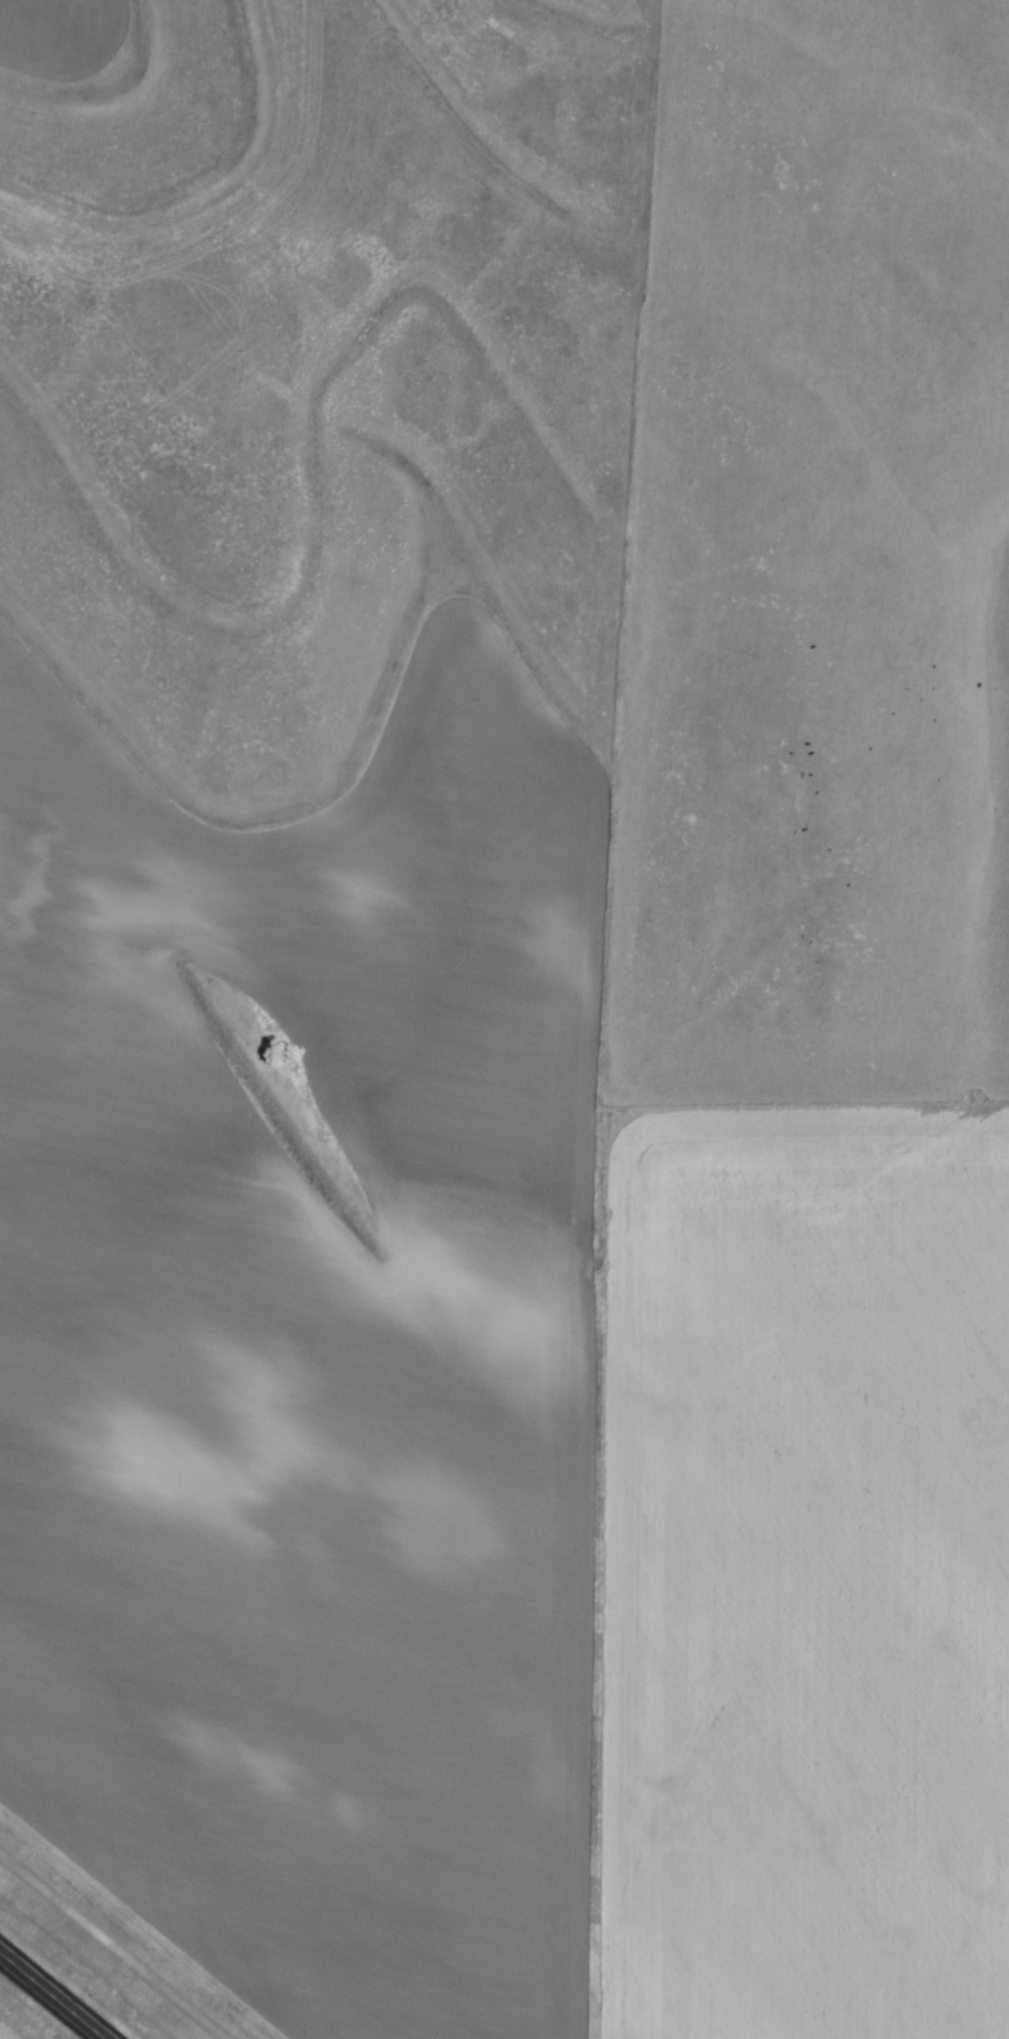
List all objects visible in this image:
road: (115, 1944)
road: (53, 1995)

